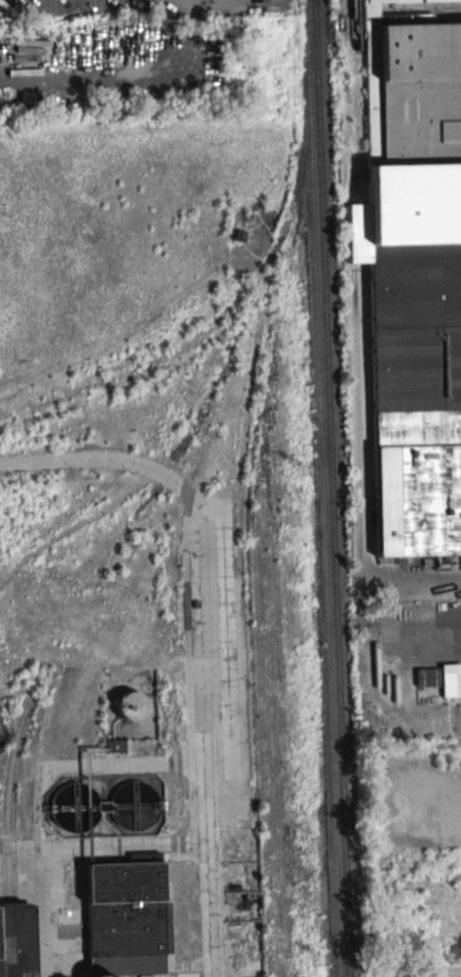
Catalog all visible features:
building: (407, 1)
railway: (281, 277)
building: (410, 309)
railway: (200, 335)
railway: (210, 395)
power tower: (303, 474)
railway: (323, 488)
railway: (331, 488)
railway: (189, 500)
railway: (72, 526)
railway: (174, 557)
railway: (170, 617)
railway: (259, 669)
building: (440, 679)
railway: (278, 682)
building: (131, 705)
railway: (269, 712)
railway: (178, 770)
railway: (170, 773)
railway: (36, 777)
railway: (2, 793)
railway: (13, 795)
building: (127, 917)
railway: (184, 926)
railway: (175, 927)
building: (15, 940)
power tower: (323, 961)

